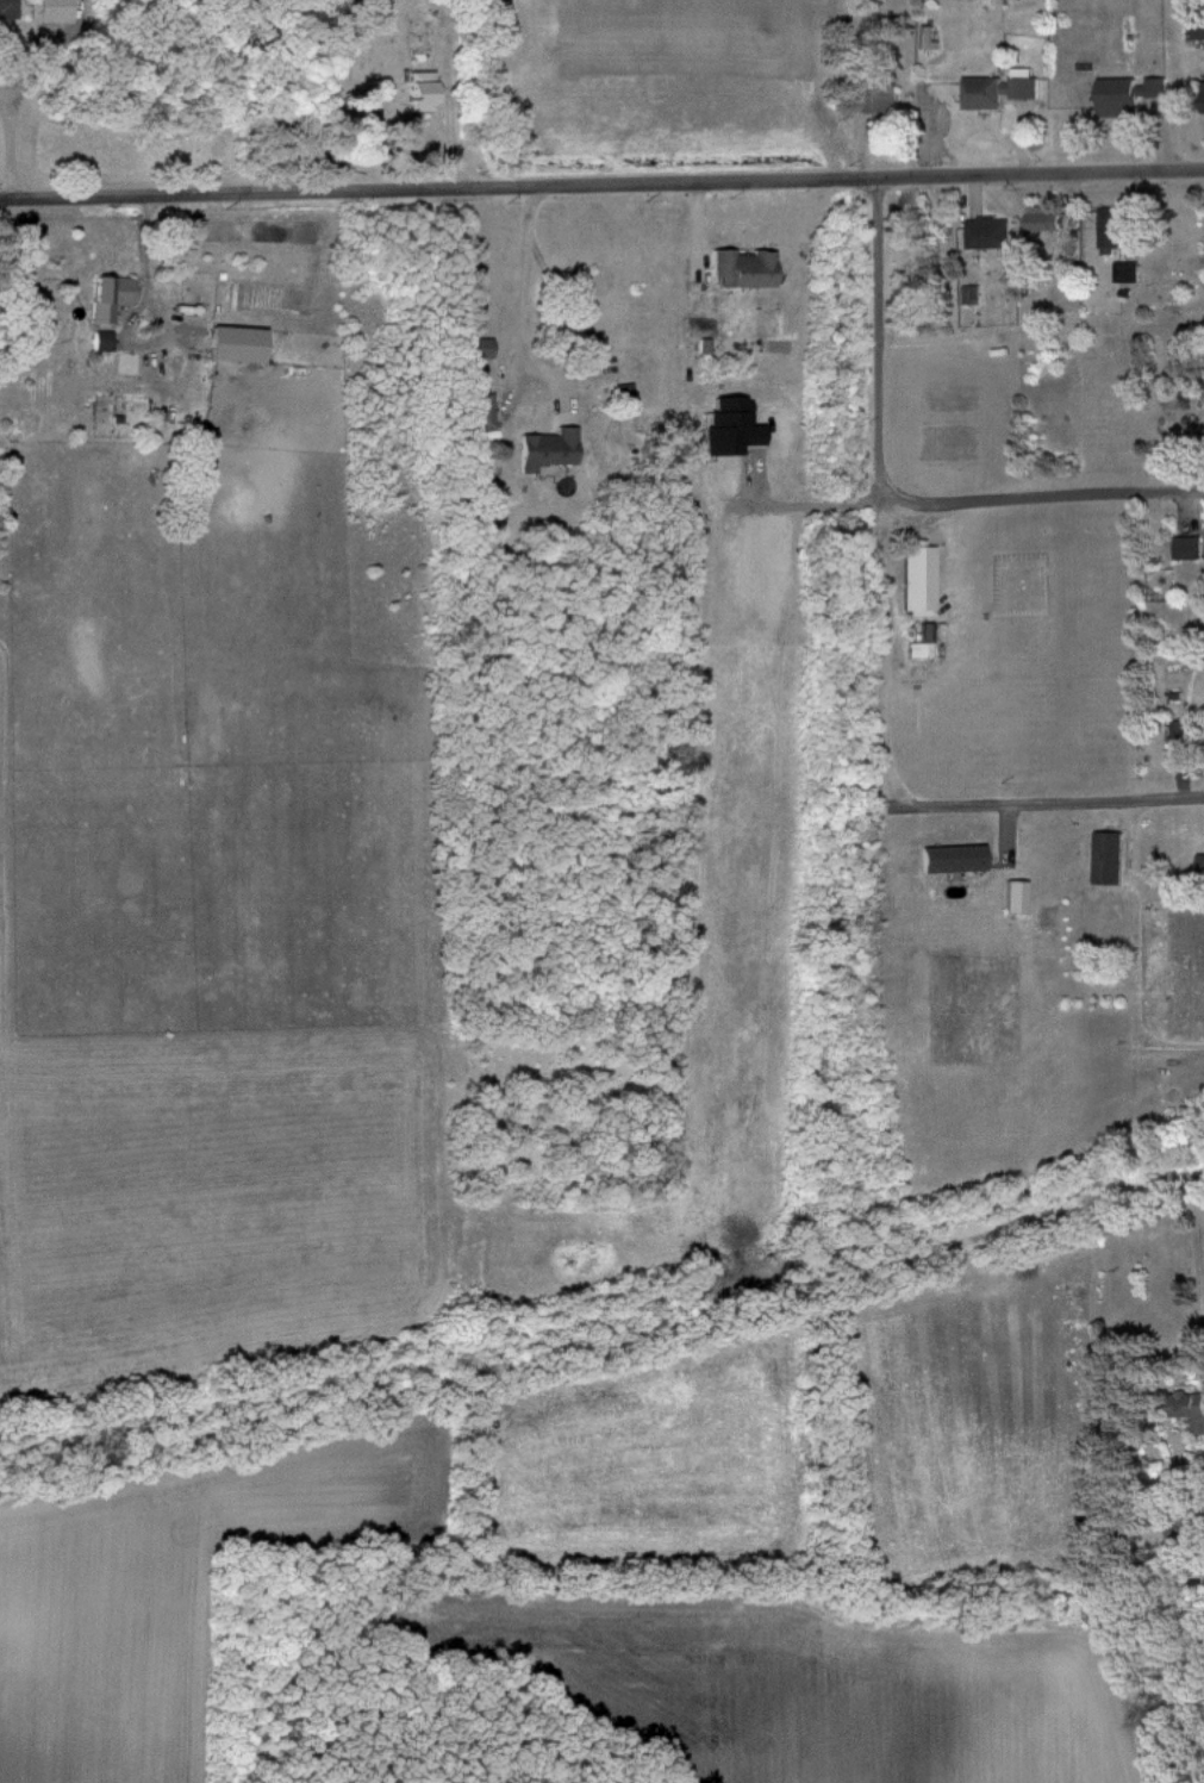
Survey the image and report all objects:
building: (423, 83)
building: (1002, 89)
building: (1131, 94)
building: (880, 98)
road: (6, 146)
road: (1041, 175)
road: (438, 187)
building: (1047, 219)
building: (1113, 229)
building: (990, 232)
building: (747, 268)
building: (116, 288)
building: (973, 294)
road: (878, 339)
building: (105, 341)
building: (242, 343)
building: (482, 347)
road: (532, 356)
building: (486, 411)
building: (551, 449)
road: (1046, 498)
building: (913, 569)
road: (1164, 796)
road: (937, 800)
building: (1111, 859)
building: (1019, 898)
road: (1200, 1255)

